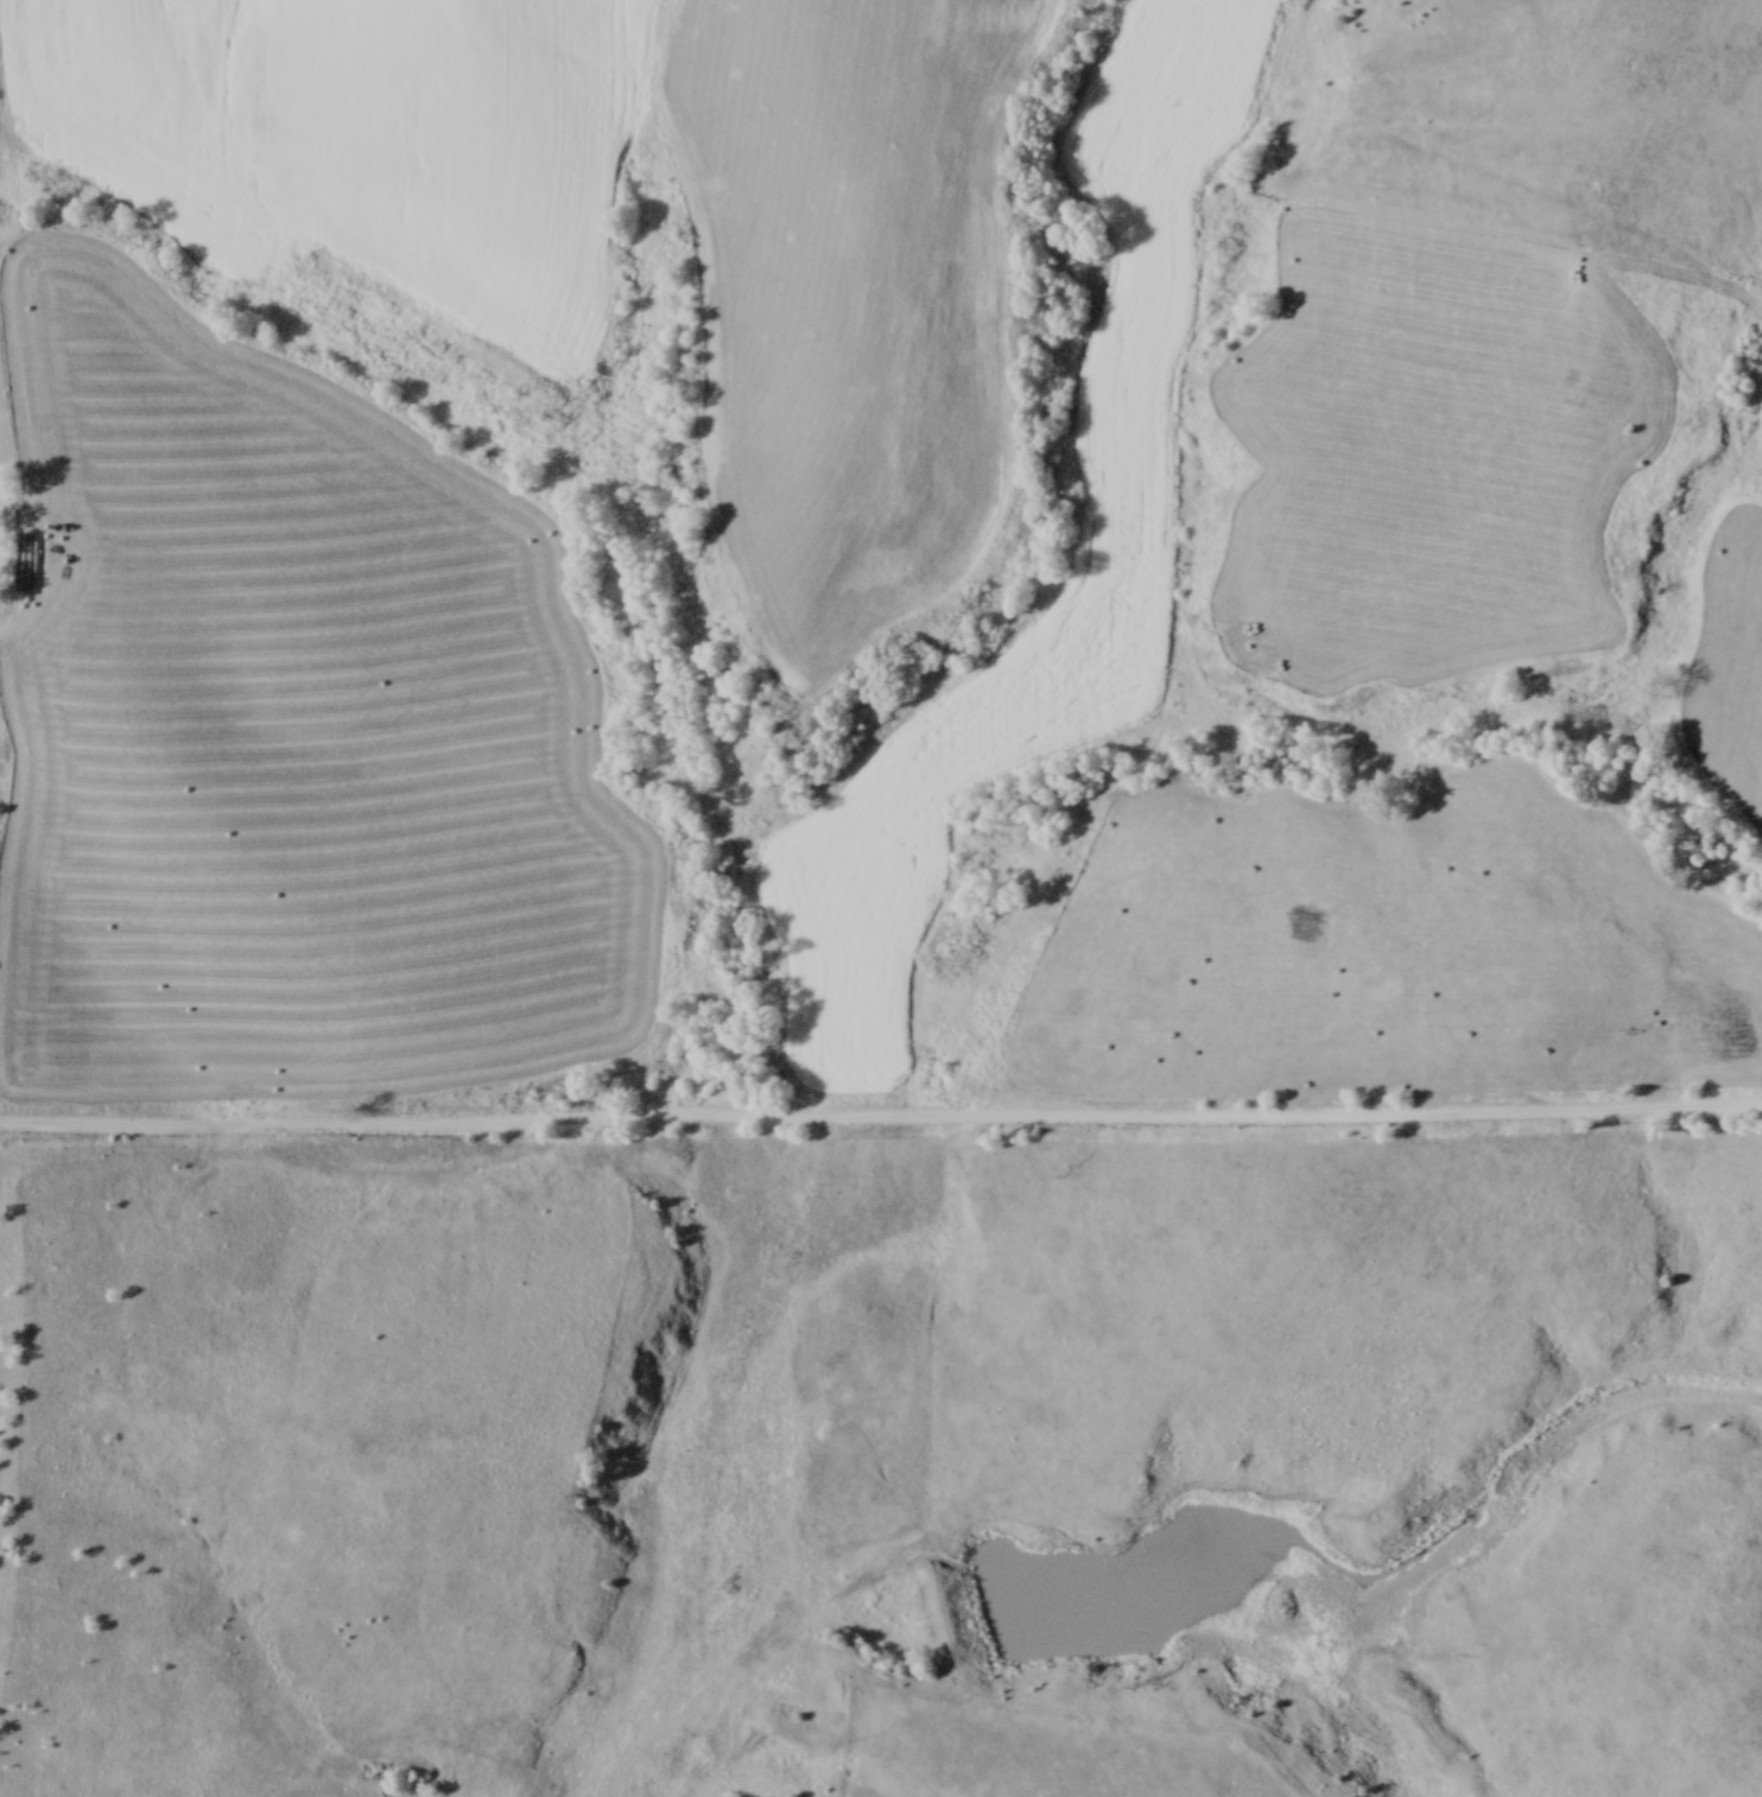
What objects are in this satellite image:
road: (880, 1113)

